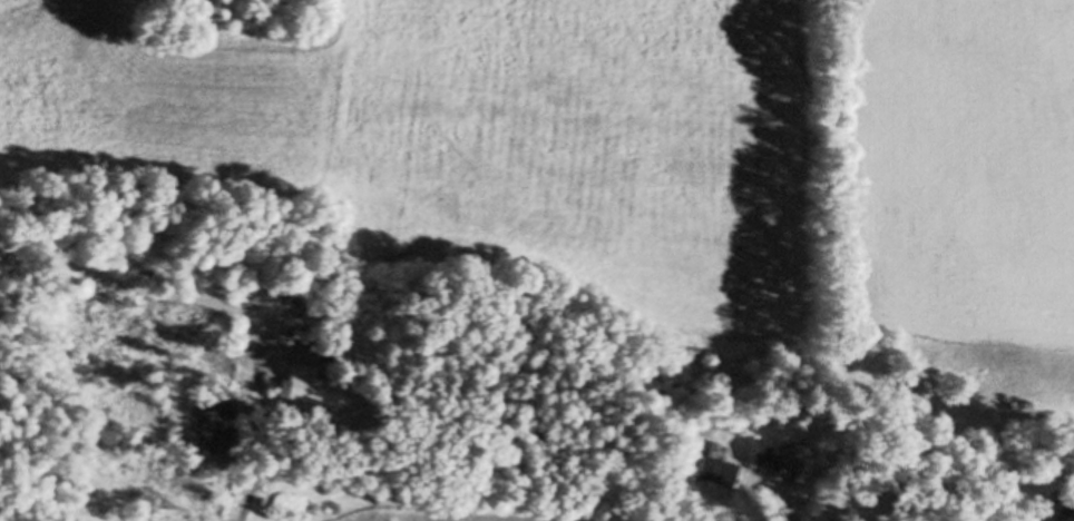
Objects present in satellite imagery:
road: (228, 306)
building: (309, 385)
building: (756, 454)
building: (707, 472)

